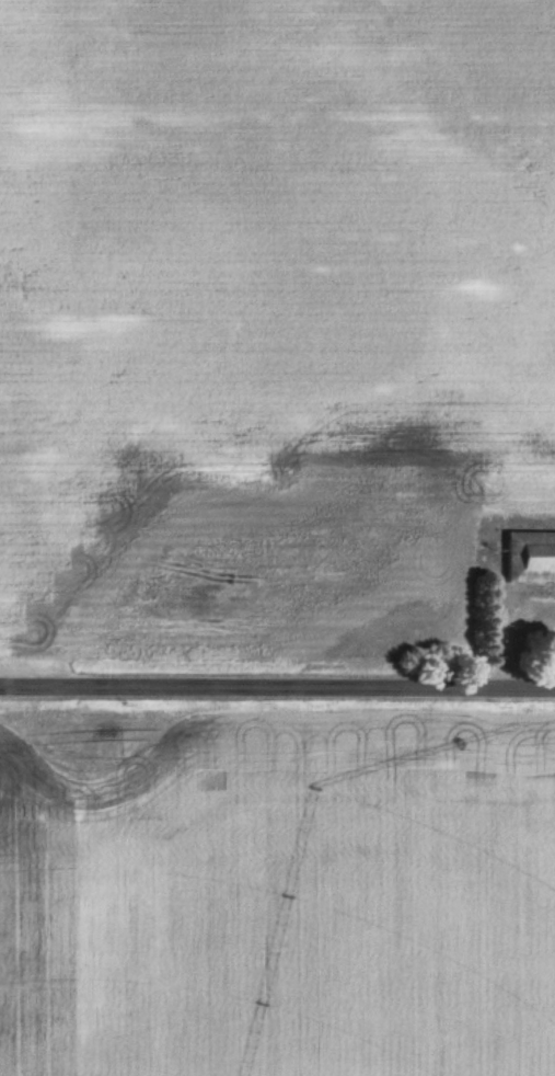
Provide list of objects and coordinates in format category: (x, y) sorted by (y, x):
crop: (269, 311)
building: (530, 559)
road: (277, 687)

